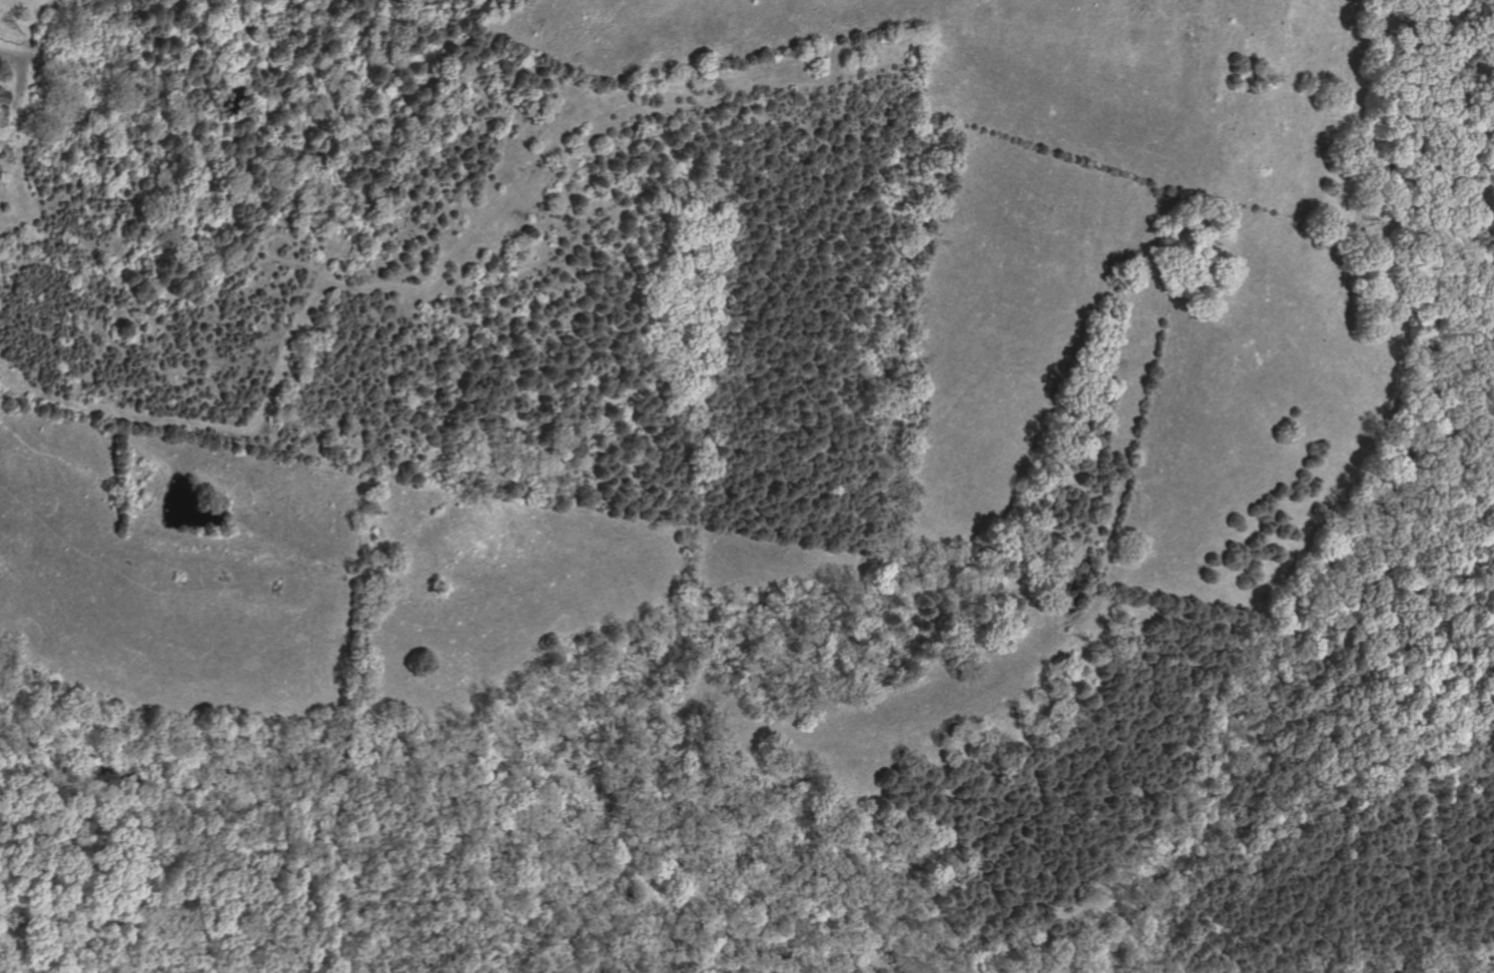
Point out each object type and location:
building: (4, 100)
building: (1, 120)
road: (290, 342)
road: (586, 731)

